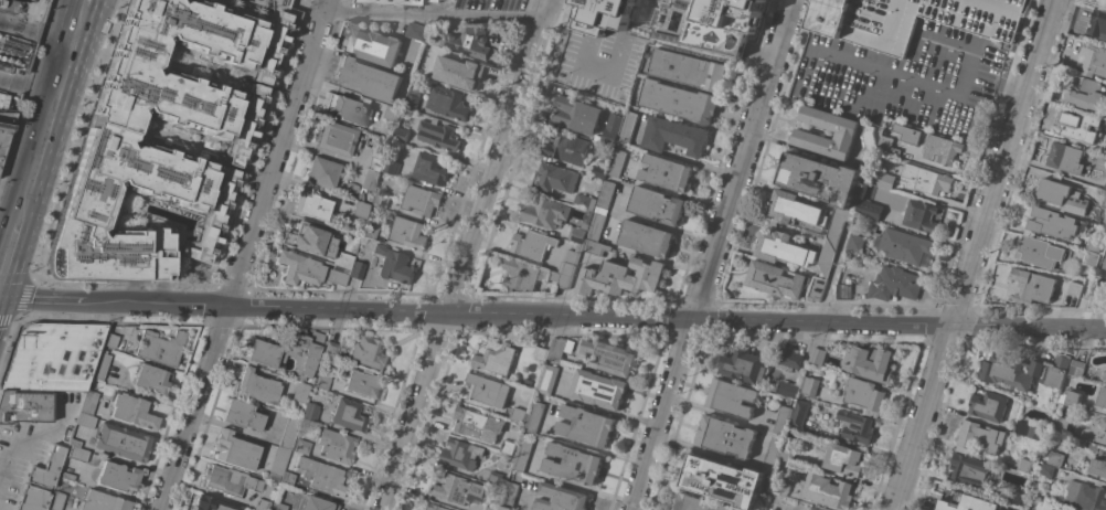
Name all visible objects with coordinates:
building: (436, 0)
building: (392, 1)
road: (82, 2)
building: (1098, 2)
road: (327, 6)
road: (436, 15)
building: (913, 19)
building: (1098, 23)
road: (35, 31)
building: (416, 31)
building: (461, 40)
building: (374, 45)
building: (272, 47)
building: (602, 49)
building: (256, 52)
building: (1071, 54)
building: (1093, 59)
building: (689, 68)
building: (459, 72)
building: (369, 77)
road: (26, 87)
building: (1085, 91)
building: (679, 99)
building: (413, 100)
building: (447, 102)
building: (348, 109)
road: (49, 110)
building: (393, 113)
building: (577, 114)
building: (614, 125)
building: (1080, 125)
building: (245, 126)
building: (628, 126)
building: (4, 130)
building: (907, 132)
building: (402, 134)
building: (438, 134)
building: (807, 134)
building: (674, 135)
building: (338, 138)
building: (108, 140)
building: (887, 145)
building: (568, 147)
building: (868, 147)
building: (944, 148)
road: (673, 155)
building: (1065, 157)
building: (377, 158)
building: (618, 159)
building: (392, 167)
building: (430, 168)
building: (599, 170)
building: (322, 172)
building: (667, 172)
building: (556, 177)
building: (820, 178)
building: (927, 178)
building: (886, 180)
building: (363, 184)
building: (1105, 184)
building: (606, 193)
road: (681, 194)
building: (1063, 194)
building: (422, 199)
building: (381, 200)
building: (584, 200)
building: (1104, 201)
building: (657, 203)
road: (9, 206)
building: (313, 206)
building: (796, 209)
building: (871, 209)
building: (361, 210)
building: (545, 211)
building: (922, 215)
building: (213, 220)
road: (656, 221)
building: (1052, 222)
building: (597, 223)
building: (370, 231)
building: (406, 231)
building: (579, 233)
building: (647, 237)
building: (834, 237)
building: (310, 240)
building: (855, 242)
building: (533, 243)
building: (1095, 243)
road: (8, 244)
building: (905, 244)
building: (596, 246)
building: (784, 247)
building: (1040, 251)
road: (645, 253)
road: (467, 254)
road: (712, 255)
road: (976, 255)
building: (1091, 257)
building: (343, 259)
building: (571, 259)
road: (243, 261)
building: (1105, 263)
building: (394, 264)
building: (299, 268)
building: (358, 270)
road: (831, 273)
building: (521, 274)
building: (621, 275)
building: (337, 276)
building: (561, 278)
road: (574, 278)
building: (776, 278)
building: (894, 283)
building: (1032, 285)
building: (817, 288)
building: (1074, 288)
building: (843, 290)
road: (553, 315)
building: (109, 340)
building: (560, 347)
building: (160, 348)
building: (331, 349)
building: (289, 352)
building: (369, 352)
building: (541, 352)
building: (608, 355)
building: (822, 355)
building: (54, 357)
building: (497, 357)
building: (788, 358)
building: (870, 363)
building: (100, 364)
building: (744, 365)
building: (1077, 368)
building: (1010, 371)
building: (1057, 371)
building: (549, 378)
building: (151, 379)
building: (323, 379)
building: (362, 383)
building: (811, 385)
building: (255, 386)
building: (599, 387)
building: (788, 387)
building: (487, 389)
building: (300, 392)
building: (865, 394)
building: (732, 396)
building: (1072, 397)
building: (1103, 397)
building: (88, 403)
building: (988, 404)
building: (25, 405)
building: (134, 412)
building: (311, 412)
building: (520, 414)
building: (800, 414)
building: (244, 415)
building: (349, 415)
building: (534, 415)
building: (784, 418)
building: (85, 421)
building: (1104, 421)
building: (474, 422)
building: (587, 425)
building: (857, 425)
building: (1028, 428)
building: (818, 431)
building: (1077, 431)
building: (289, 432)
road: (31, 434)
building: (726, 436)
building: (979, 437)
building: (74, 443)
building: (123, 443)
road: (583, 443)
building: (508, 446)
building: (302, 447)
building: (339, 448)
road: (703, 449)
building: (789, 450)
building: (234, 451)
building: (524, 451)
building: (77, 454)
building: (462, 454)
building: (773, 454)
building: (843, 458)
building: (1056, 458)
building: (574, 463)
building: (278, 464)
building: (1024, 464)
road: (2, 466)
building: (1098, 466)
building: (47, 468)
building: (969, 468)
building: (1046, 469)
building: (67, 476)
building: (322, 476)
building: (118, 477)
building: (497, 478)
building: (287, 479)
road: (570, 480)
building: (724, 480)
building: (231, 481)
building: (777, 485)
building: (457, 488)
building: (828, 489)
building: (510, 493)
building: (1083, 495)
building: (1014, 496)
building: (561, 498)
building: (33, 499)
building: (959, 499)
building: (56, 501)
building: (103, 502)
building: (699, 502)
building: (212, 503)
building: (315, 503)
building: (264, 504)
building: (277, 507)
building: (436, 507)
building: (506, 507)
building: (491, 508)
building: (815, 508)

